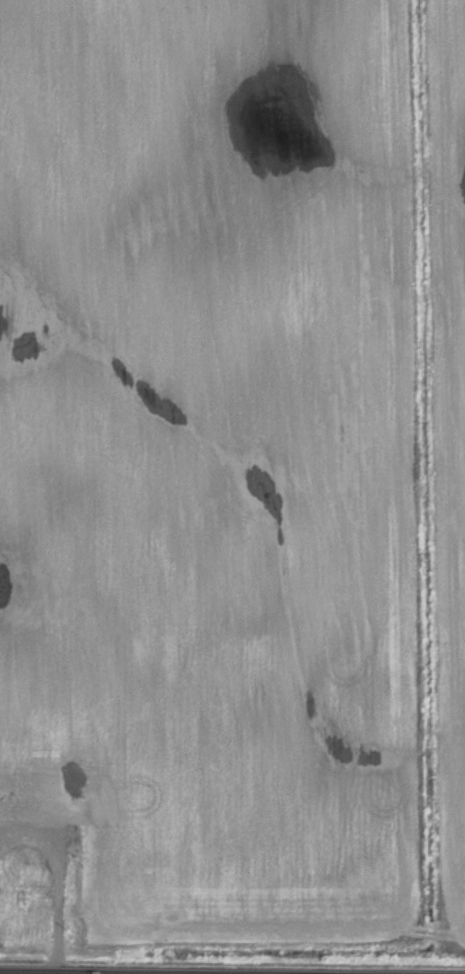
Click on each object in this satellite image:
building: (43, 799)

